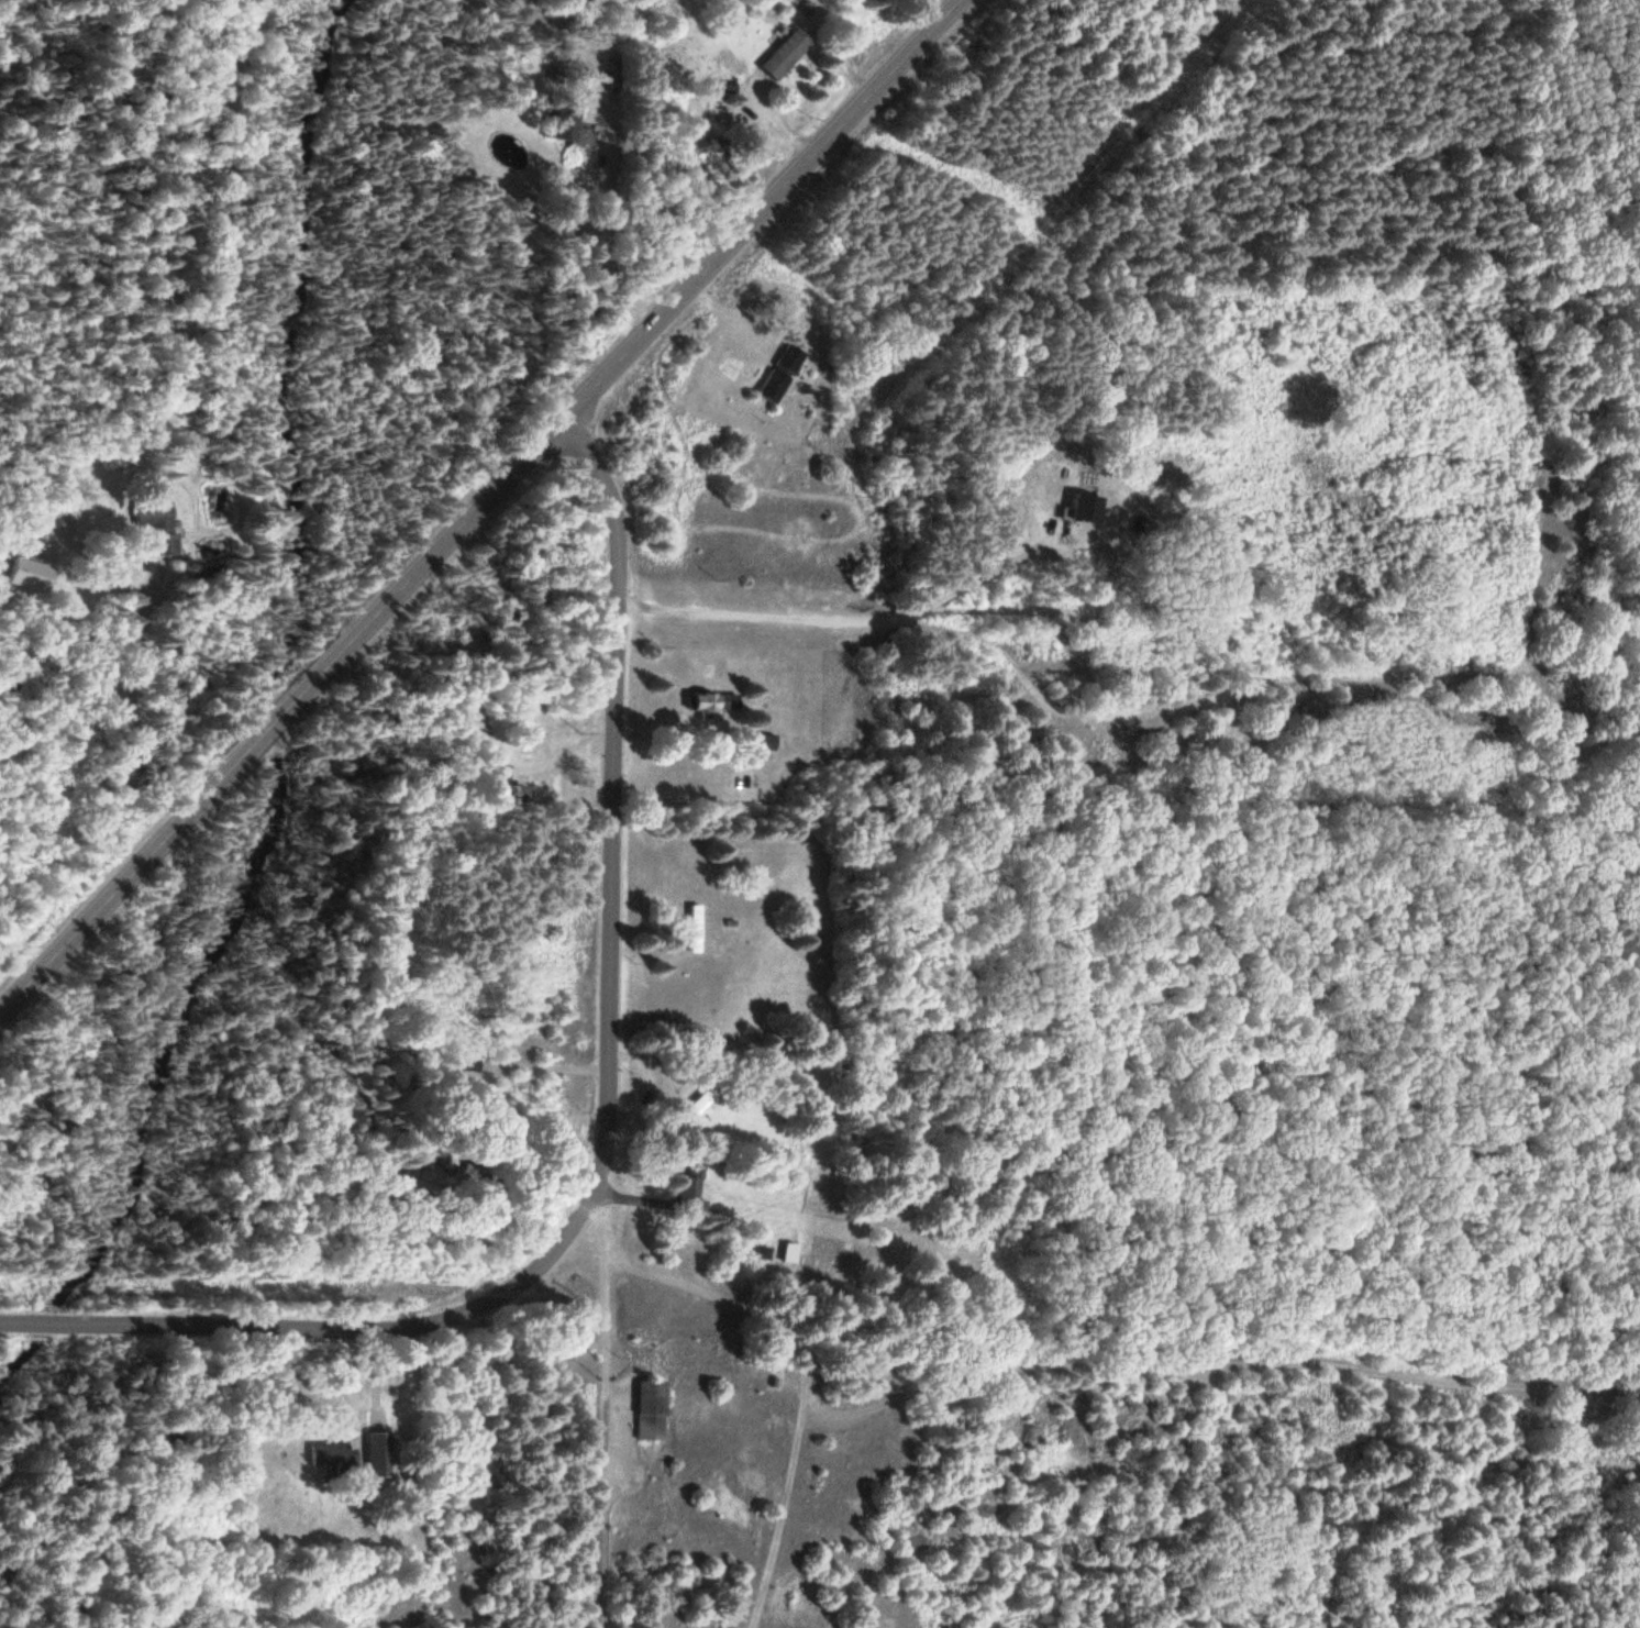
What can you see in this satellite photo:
building: (784, 55)
building: (559, 124)
building: (778, 375)
road: (481, 507)
building: (152, 525)
building: (25, 575)
building: (539, 697)
building: (709, 705)
building: (766, 742)
building: (499, 793)
road: (611, 793)
building: (692, 929)
building: (721, 1055)
building: (690, 1185)
road: (333, 1332)
road: (603, 1402)
building: (649, 1411)
building: (377, 1457)
building: (332, 1460)

